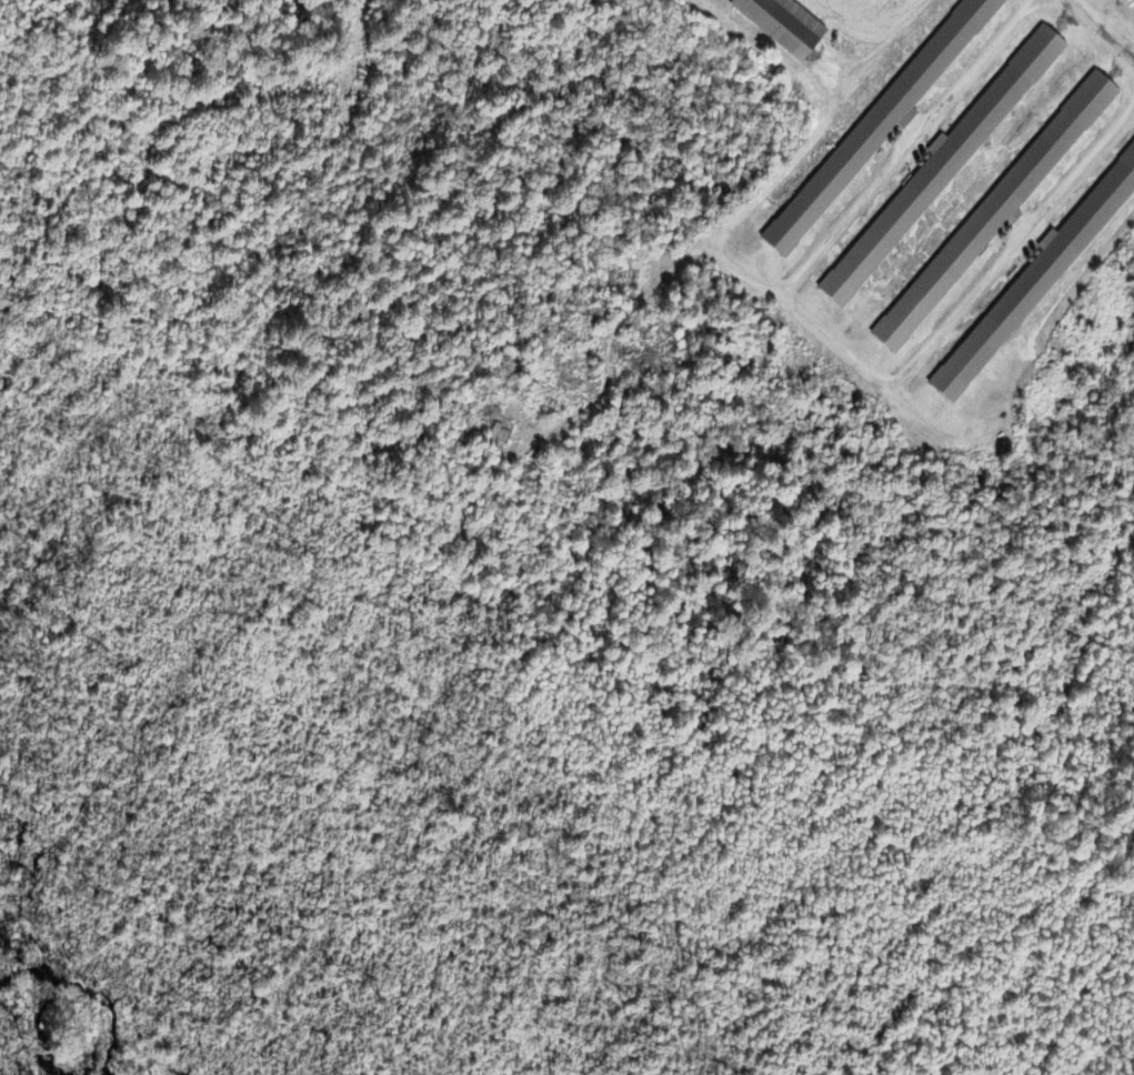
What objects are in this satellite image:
building: (875, 125)
building: (935, 171)
building: (993, 211)
building: (1033, 281)

